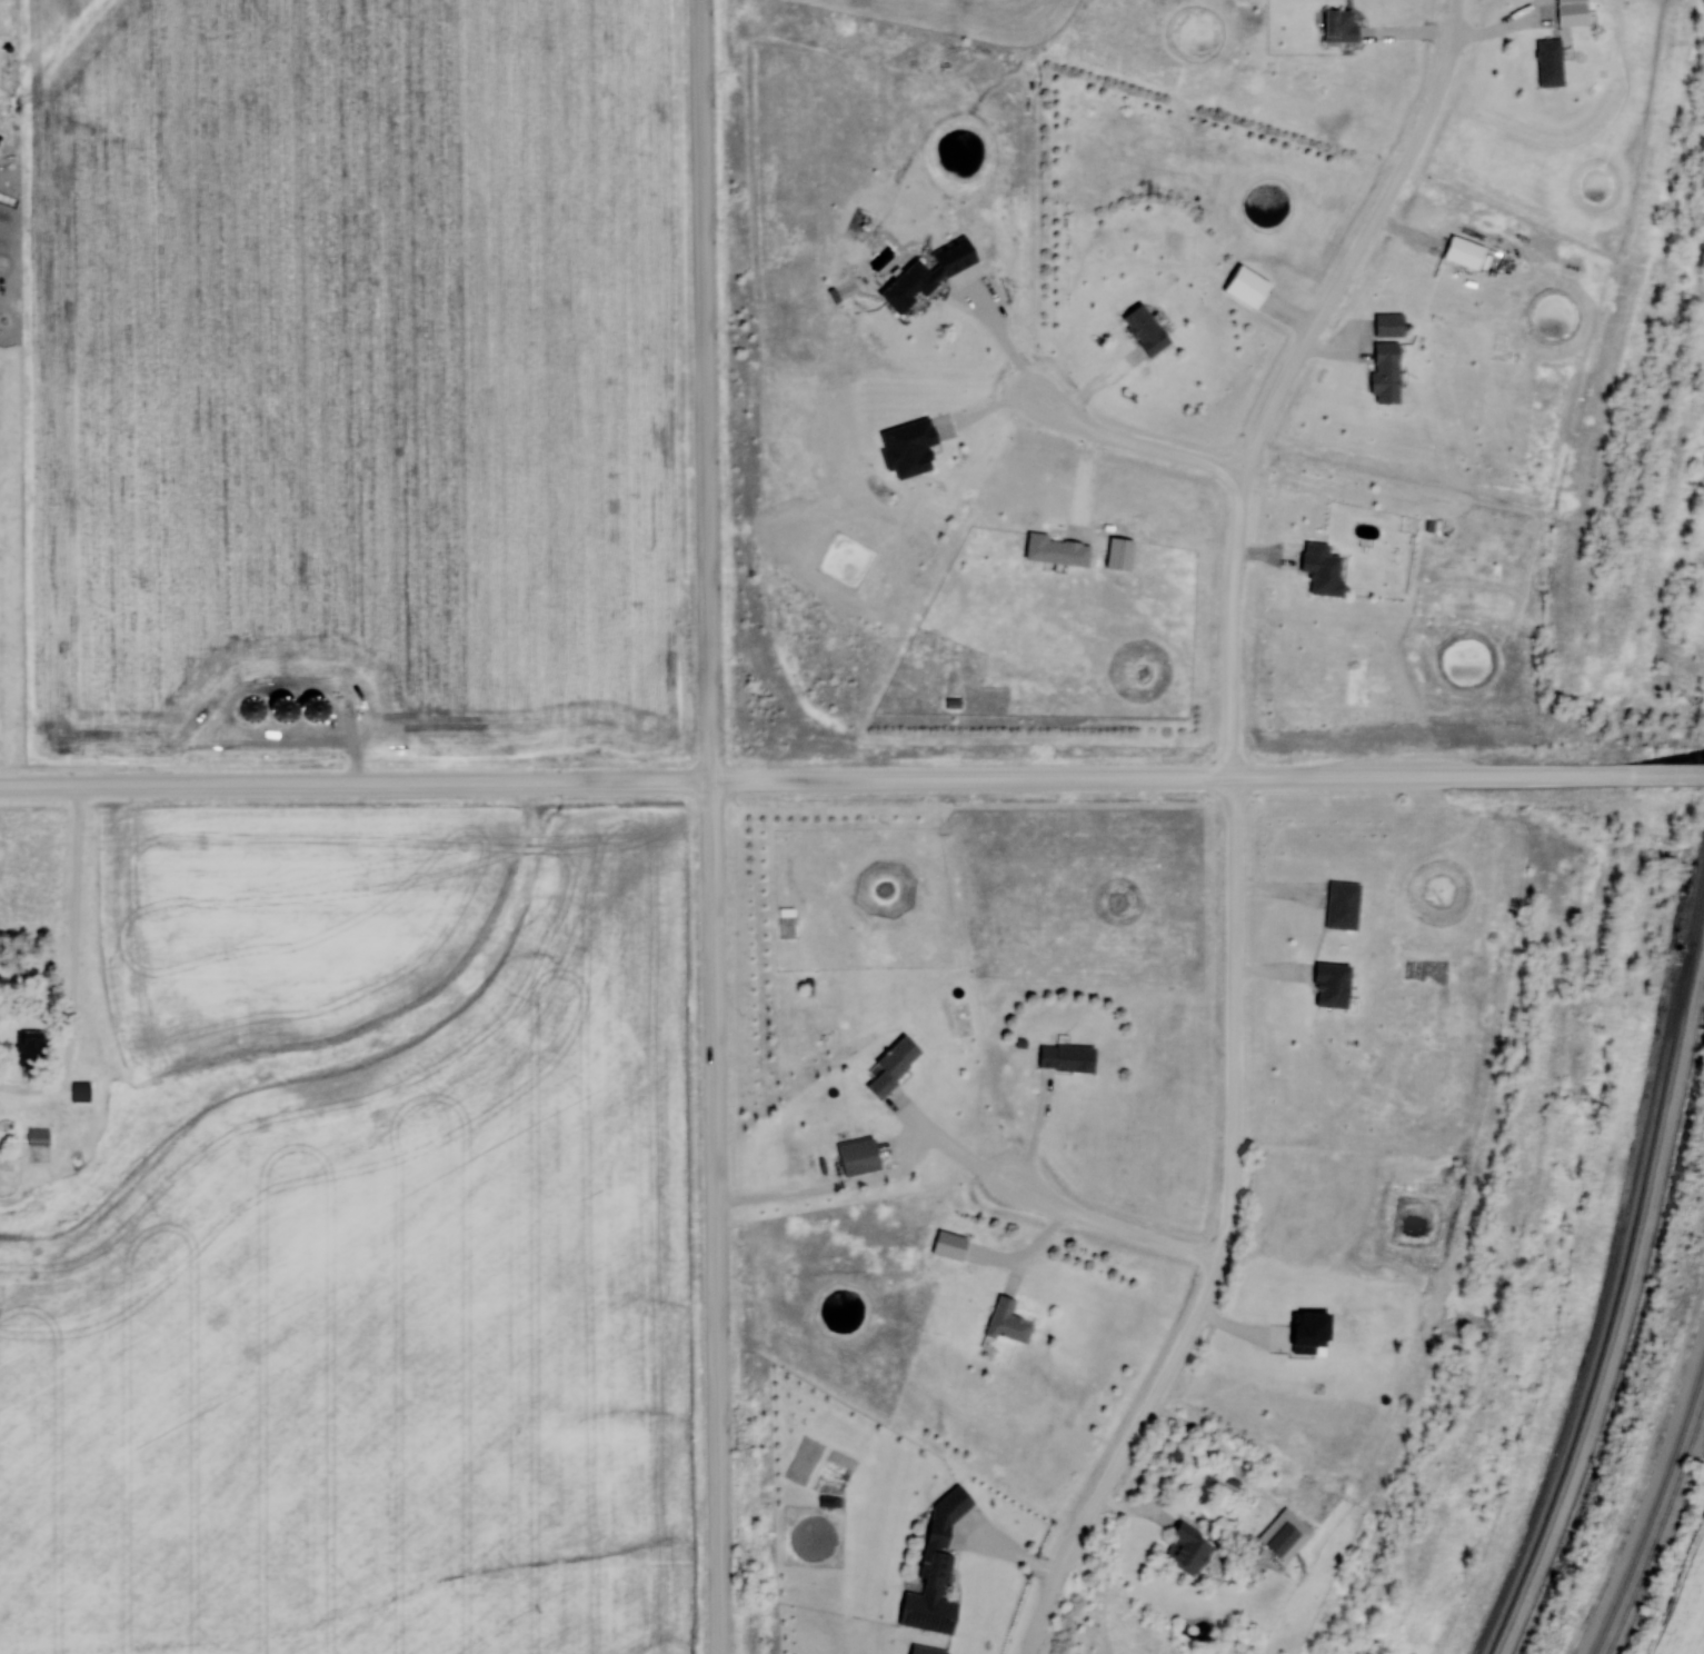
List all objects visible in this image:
building: (1573, 13)
building: (1341, 27)
building: (1551, 63)
building: (1465, 253)
building: (909, 287)
building: (1389, 325)
building: (1146, 329)
road: (1287, 371)
building: (1386, 372)
road: (1144, 434)
building: (1057, 550)
building: (1324, 569)
road: (1660, 775)
road: (808, 780)
road: (711, 826)
building: (1343, 905)
building: (1333, 985)
building: (33, 1047)
building: (1067, 1058)
building: (894, 1066)
building: (80, 1093)
building: (38, 1137)
building: (859, 1157)
road: (1113, 1224)
road: (1223, 1238)
building: (949, 1246)
railway: (1621, 1284)
building: (1008, 1323)
building: (1227, 1487)
railway: (1652, 1504)
building: (1189, 1550)
building: (937, 1553)

